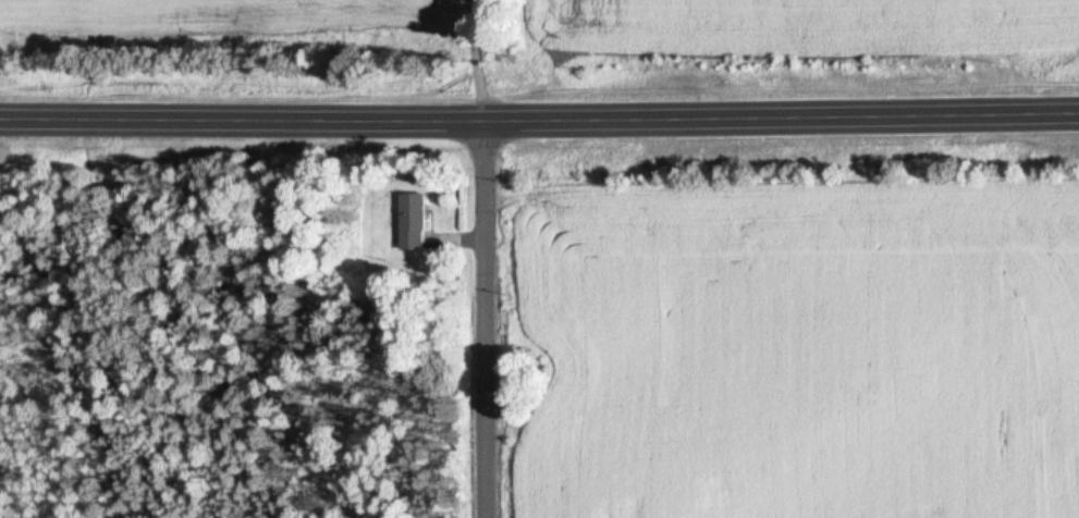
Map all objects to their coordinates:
road: (539, 120)
building: (416, 222)
road: (489, 319)

